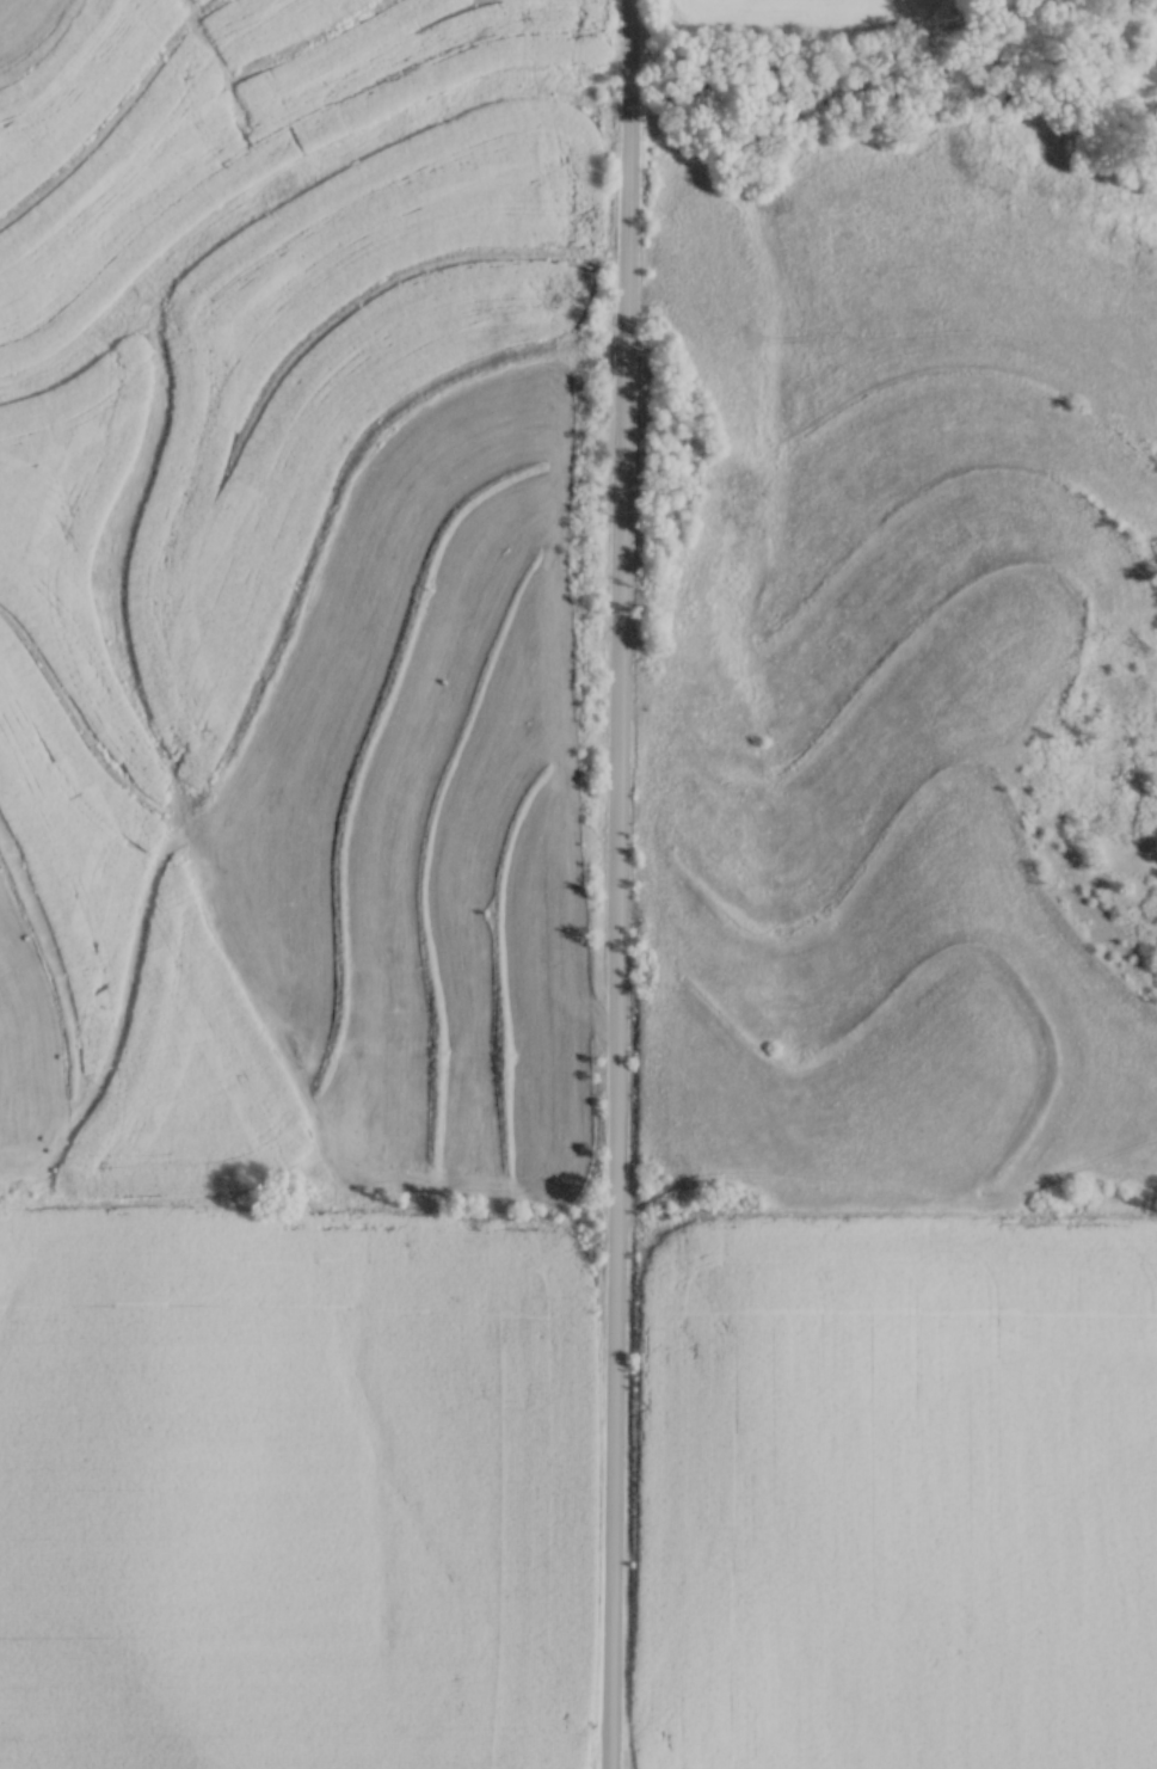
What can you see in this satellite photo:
road: (622, 884)

